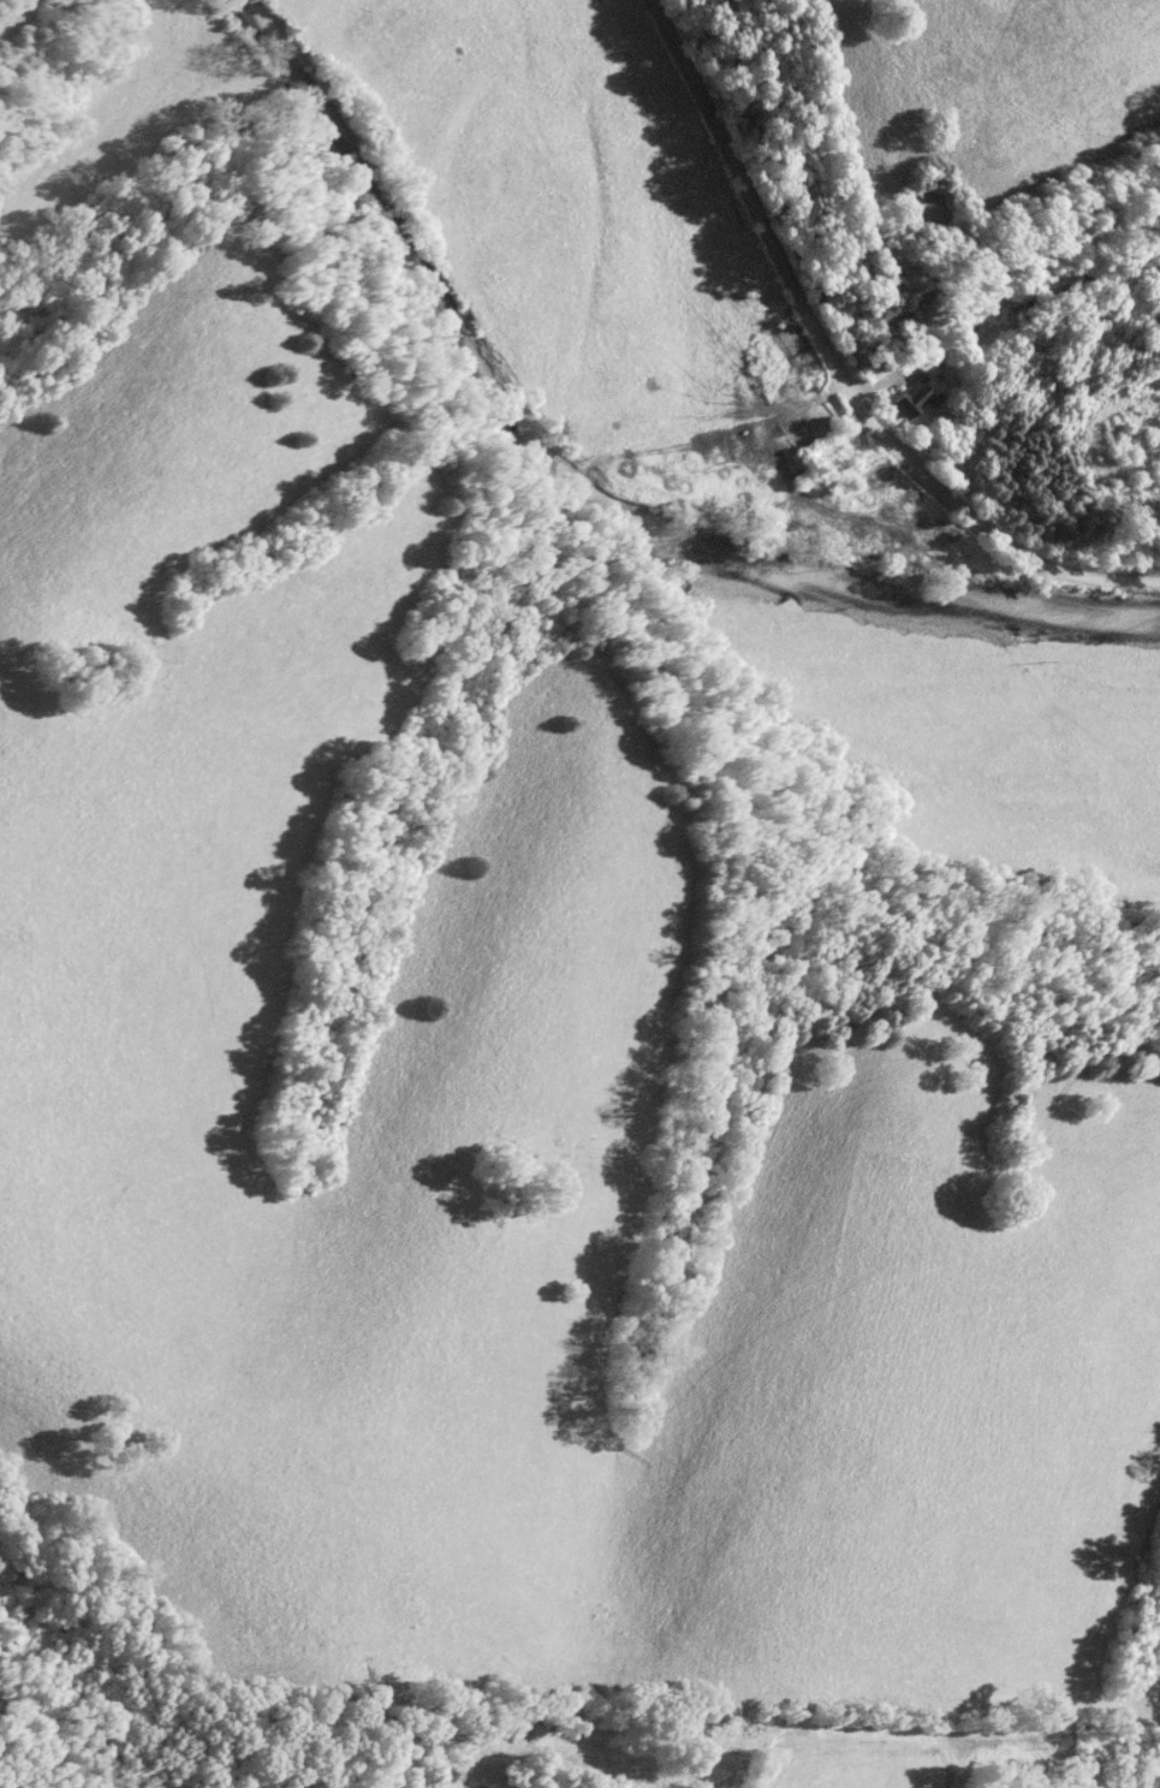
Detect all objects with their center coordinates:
road: (834, 370)
building: (903, 398)

